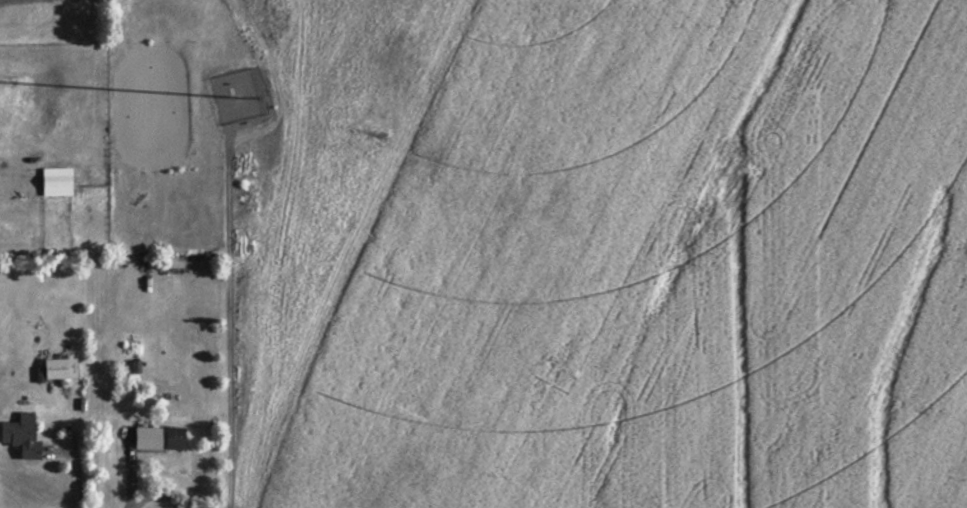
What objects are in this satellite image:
building: (58, 182)
building: (62, 369)
building: (23, 437)
building: (161, 439)

